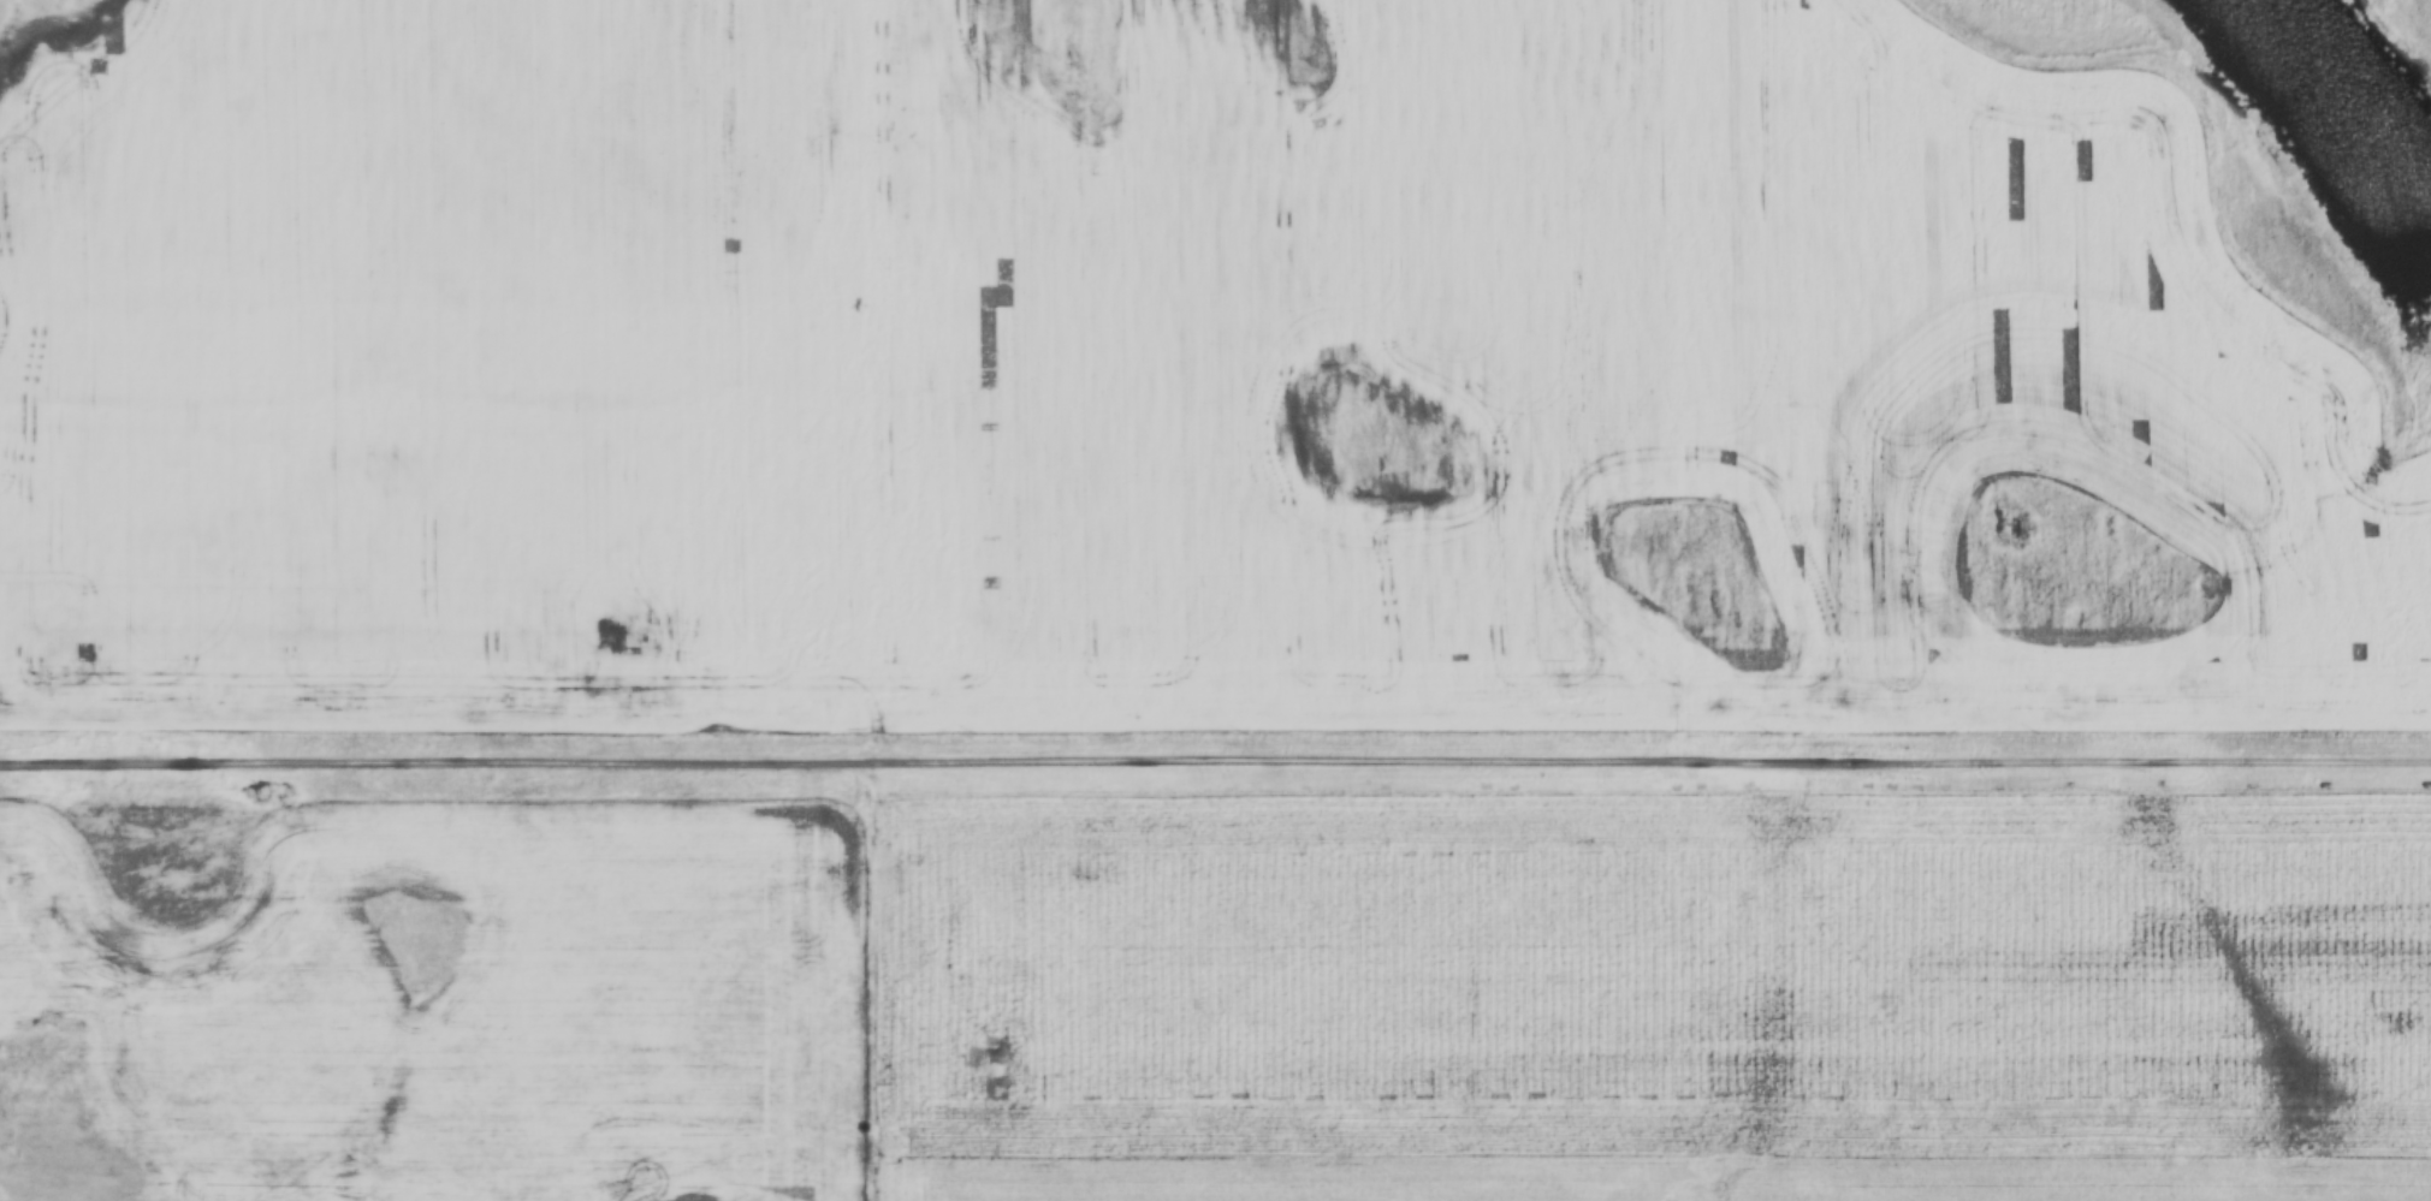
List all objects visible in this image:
road: (1215, 763)

